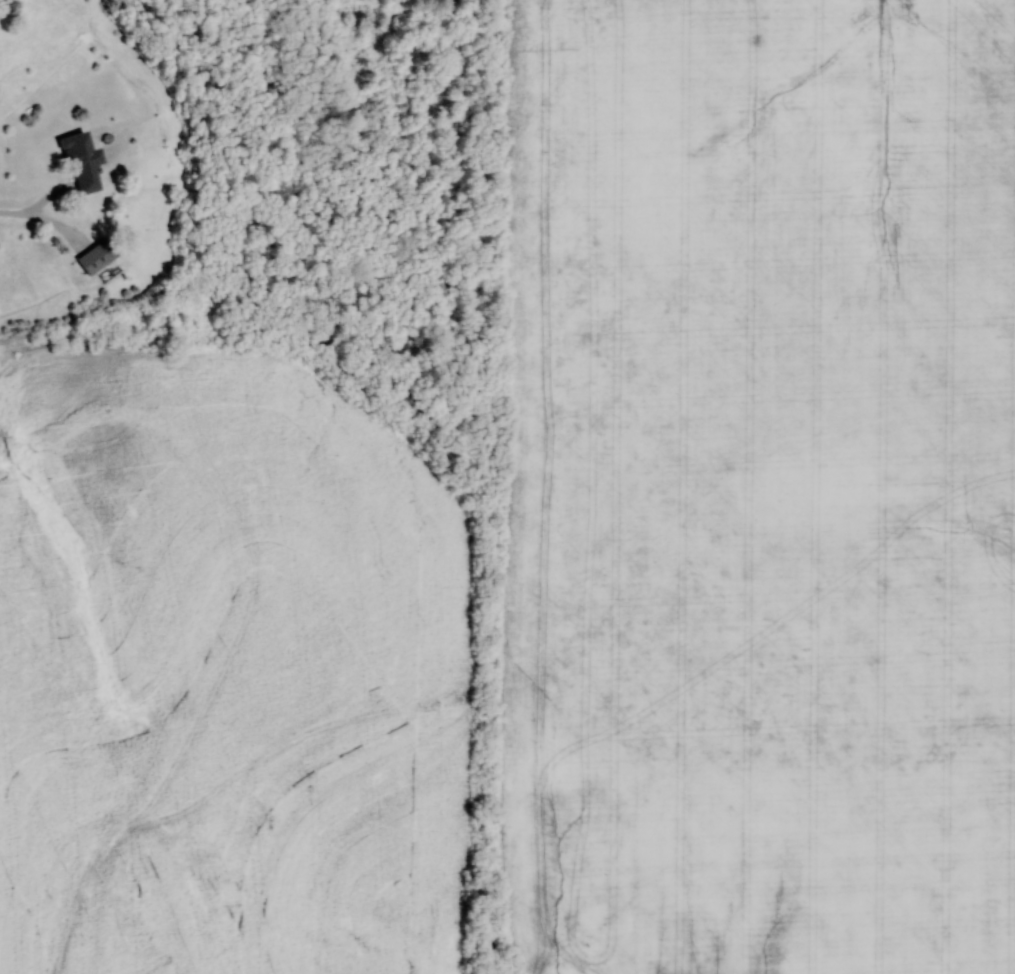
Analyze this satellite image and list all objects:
road: (37, 207)
building: (97, 256)

